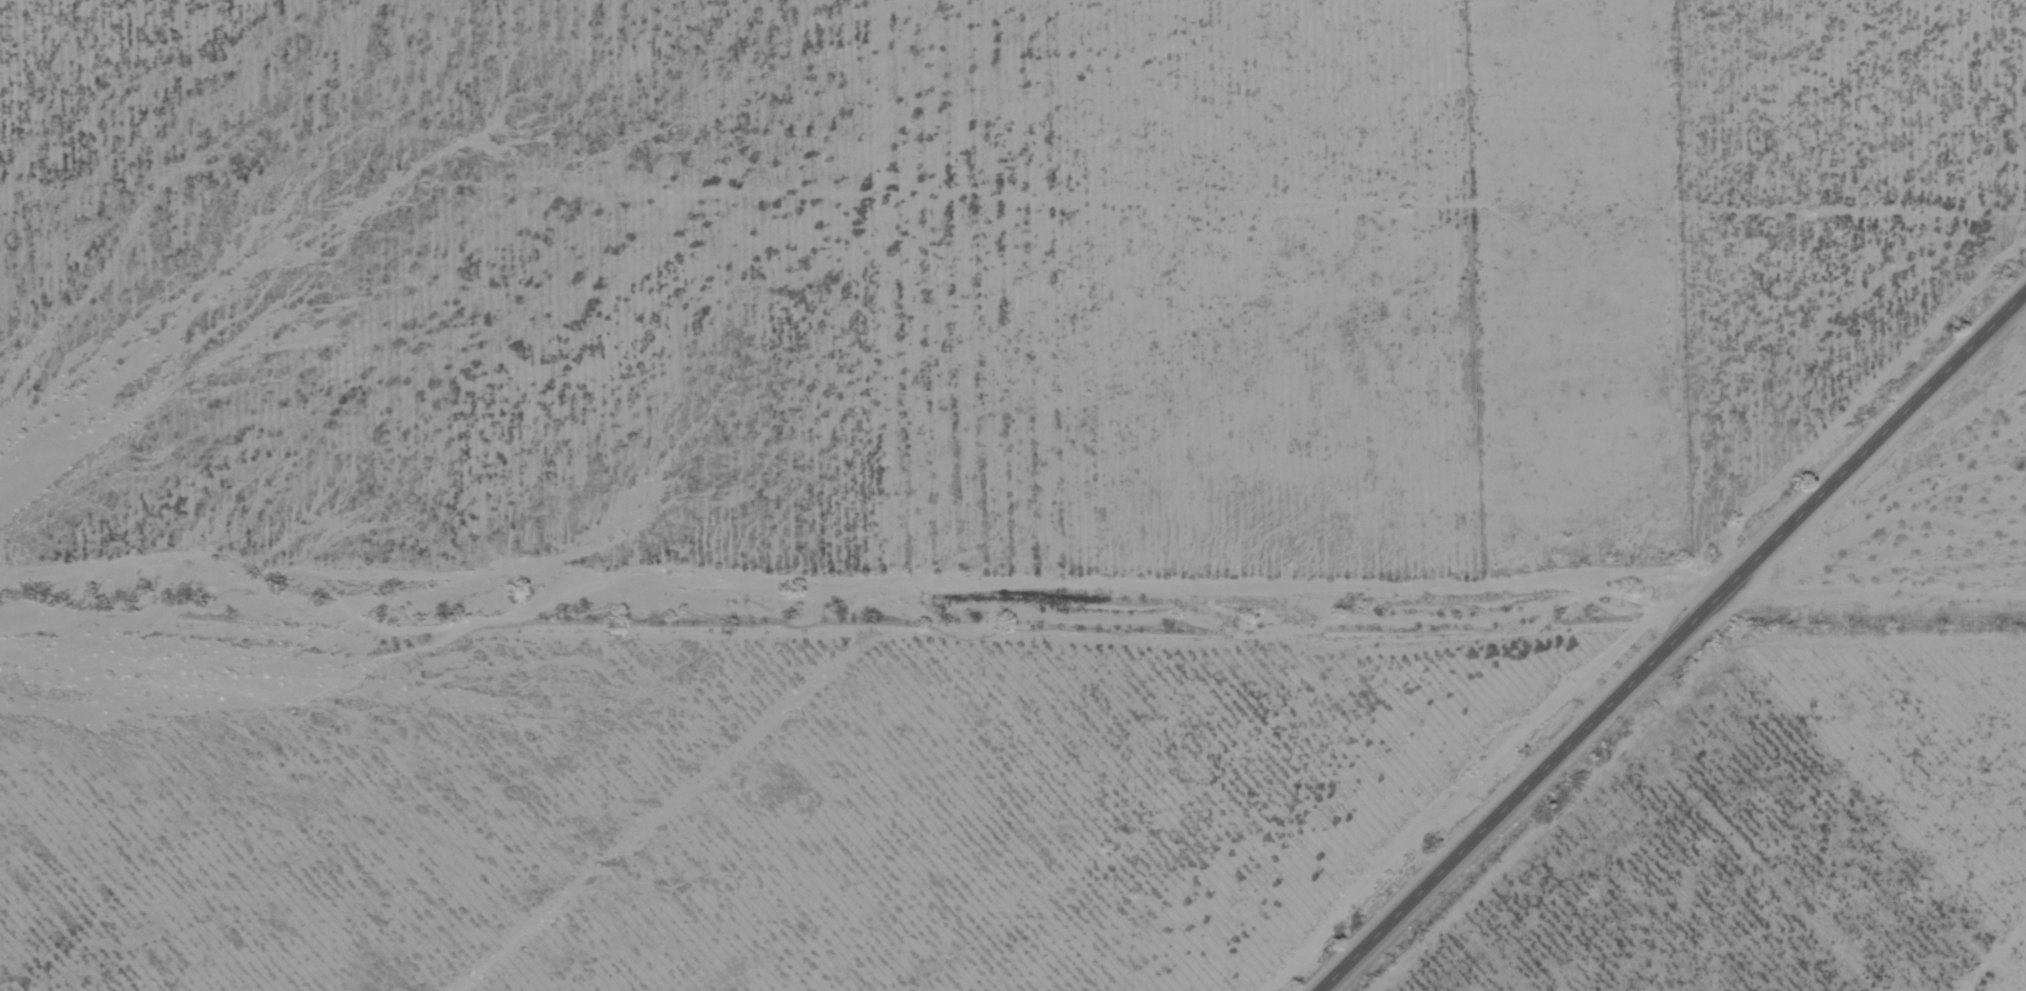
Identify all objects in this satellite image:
road: (1670, 639)

